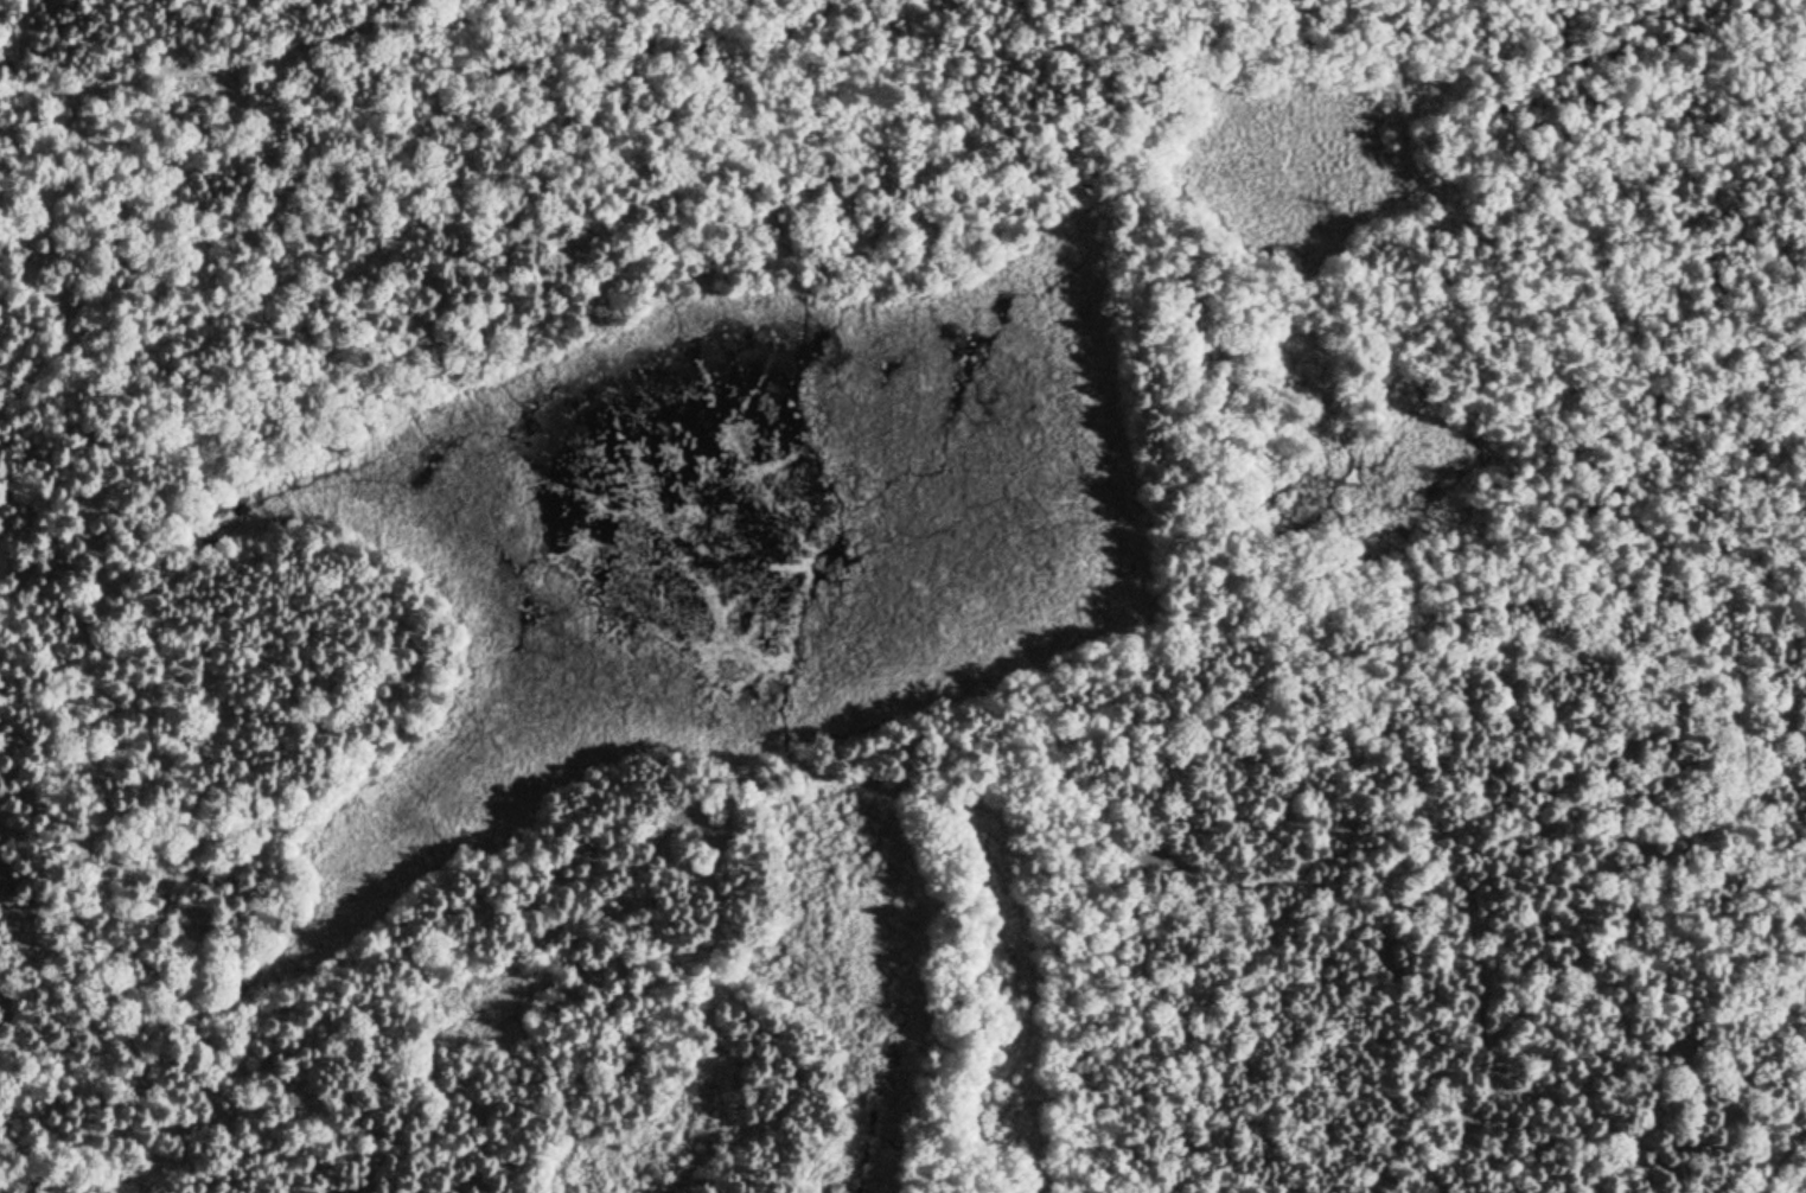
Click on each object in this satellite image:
road: (1457, 1051)

